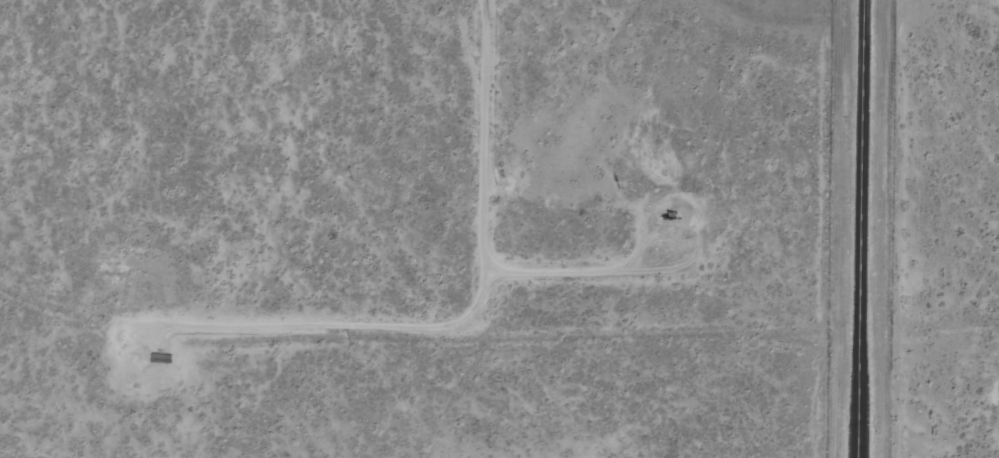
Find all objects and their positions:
road: (861, 229)
road: (87, 365)

